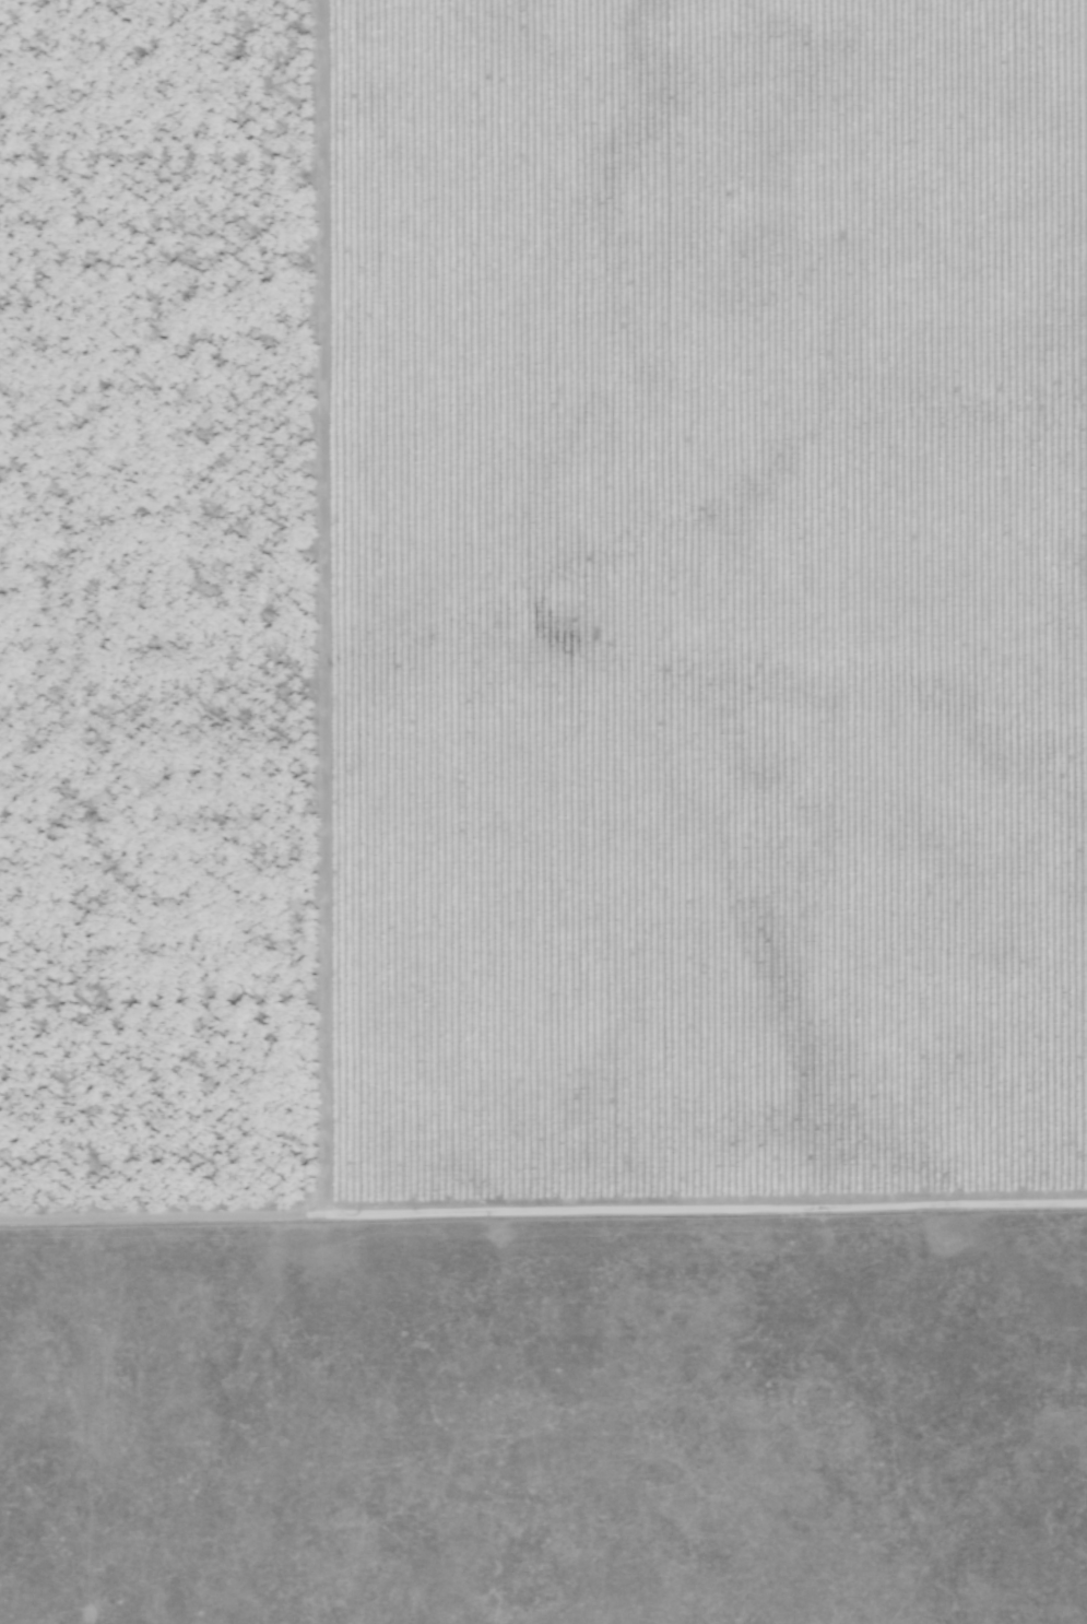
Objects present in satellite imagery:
road: (543, 1203)

